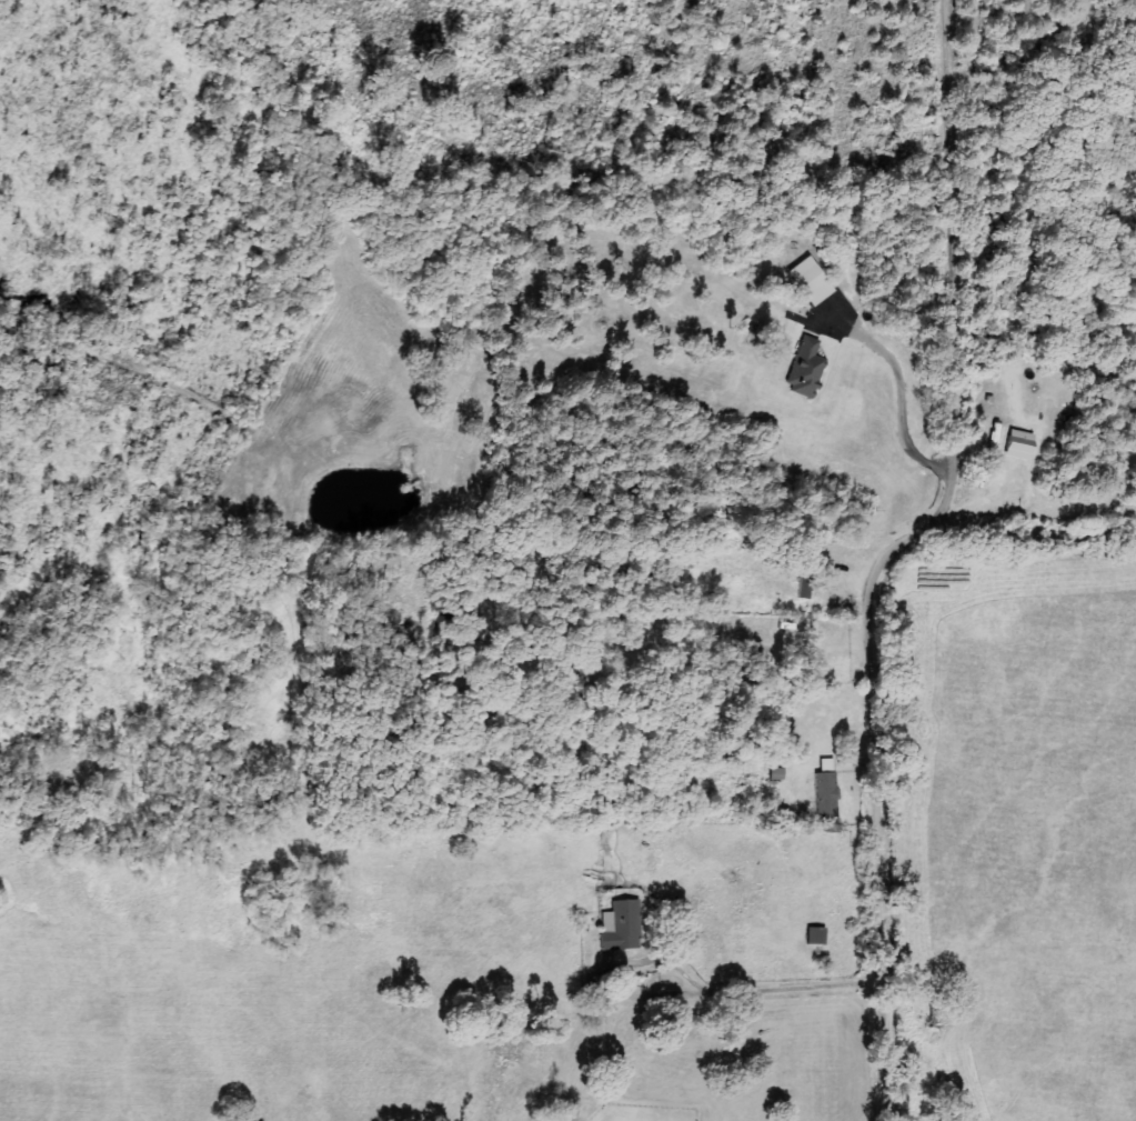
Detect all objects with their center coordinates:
road: (954, 268)
building: (810, 282)
building: (804, 370)
road: (865, 707)
building: (825, 795)
building: (623, 924)
building: (815, 937)

